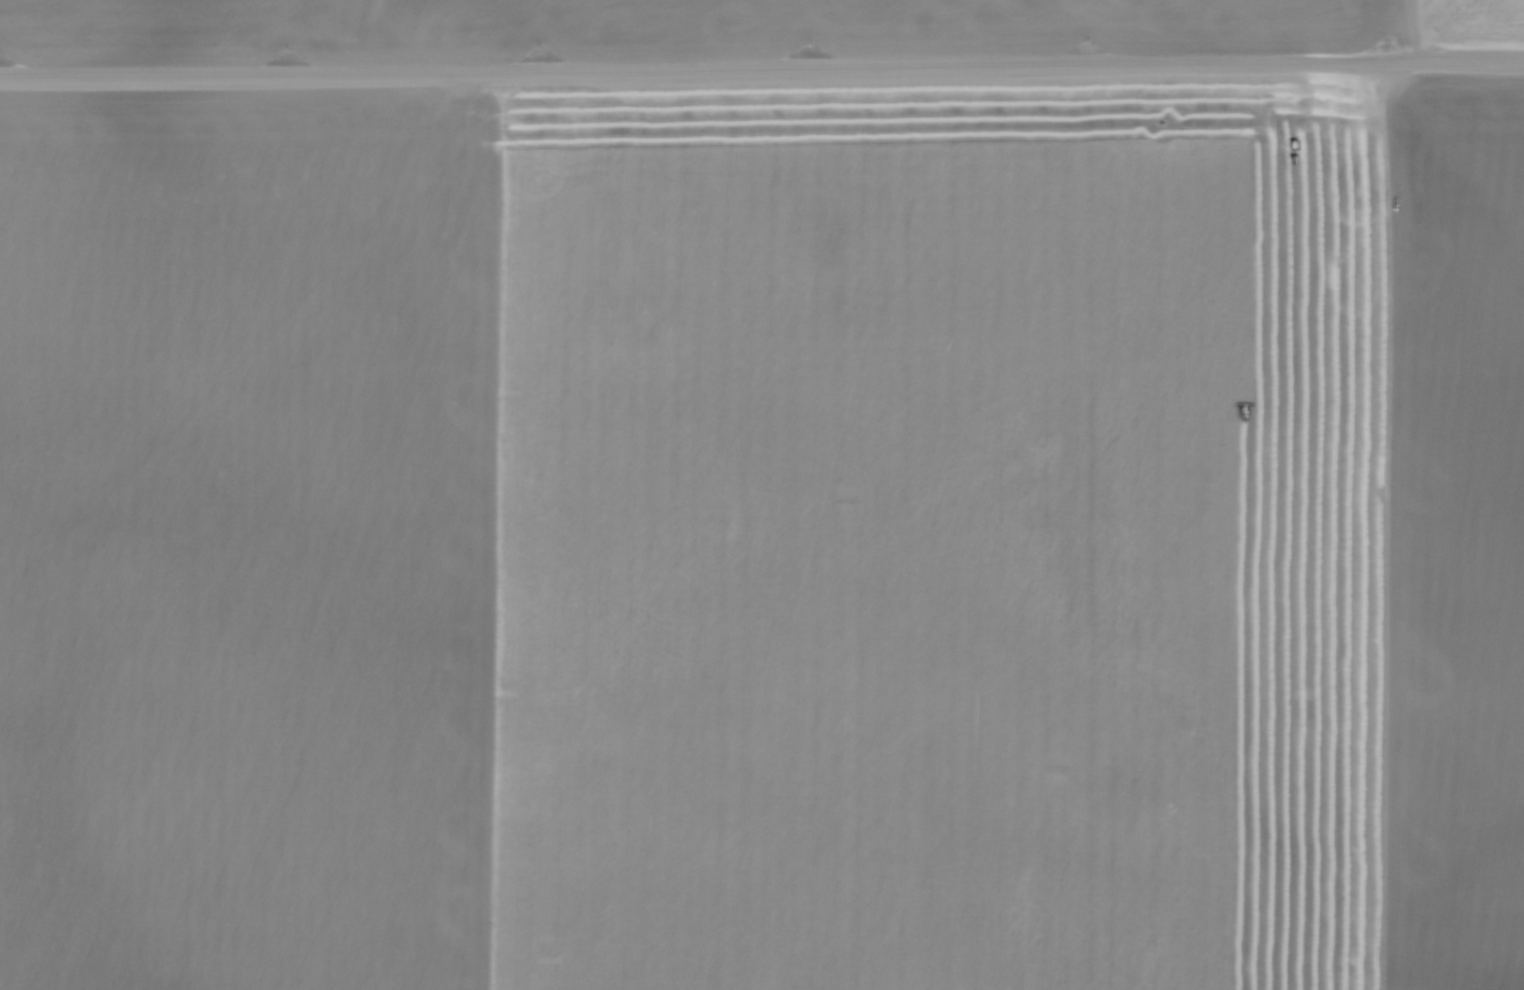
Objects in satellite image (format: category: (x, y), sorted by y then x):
crop: (719, 26)
road: (762, 70)
building: (1353, 166)
road: (1382, 525)
crop: (763, 536)

